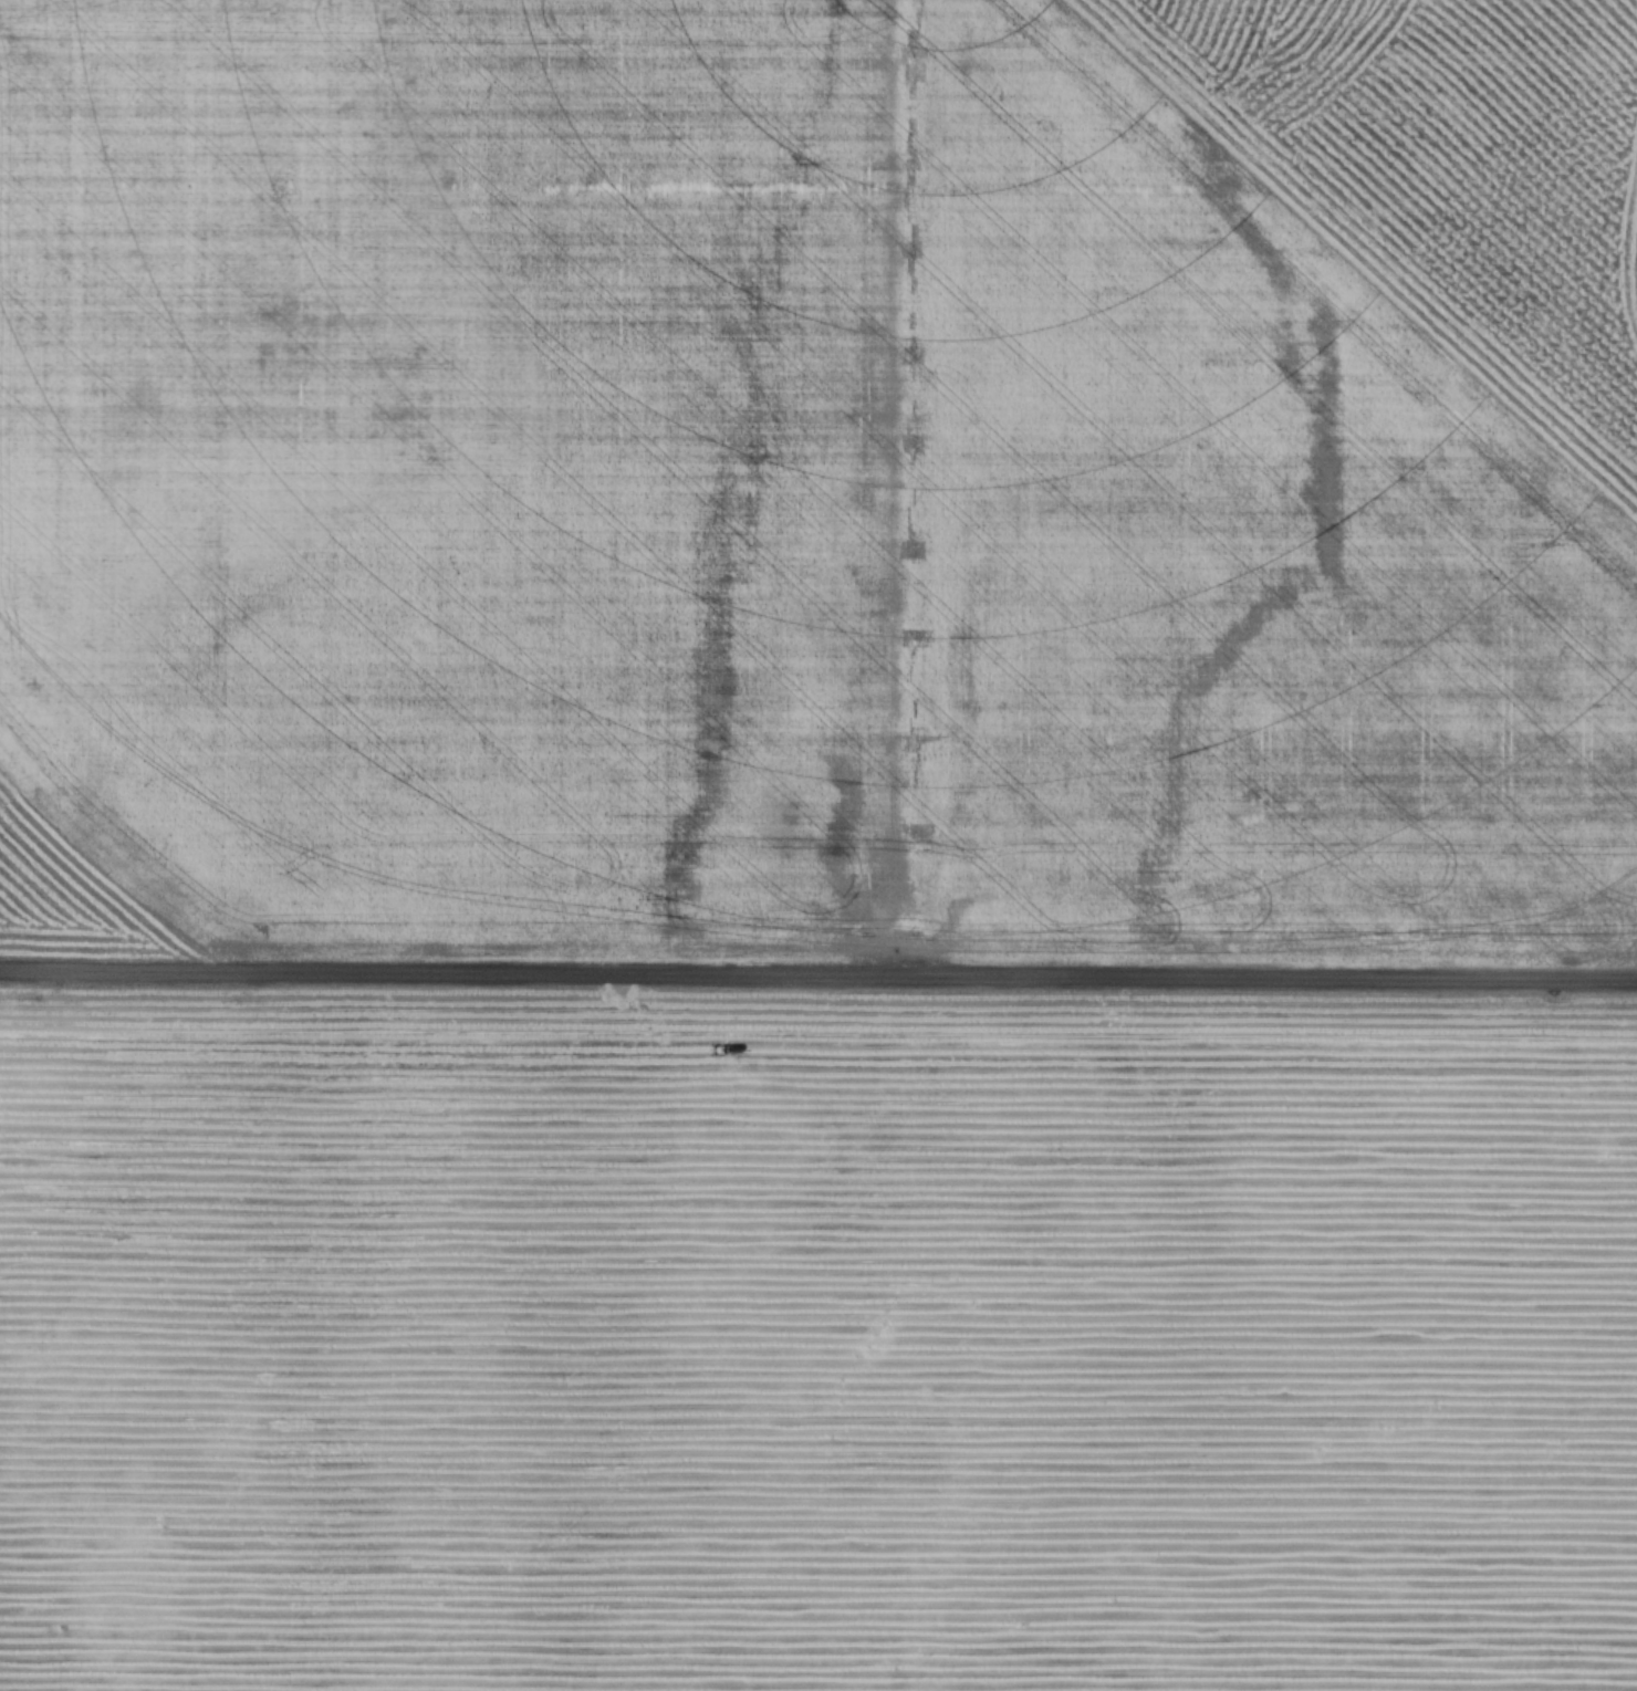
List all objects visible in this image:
road: (818, 968)

